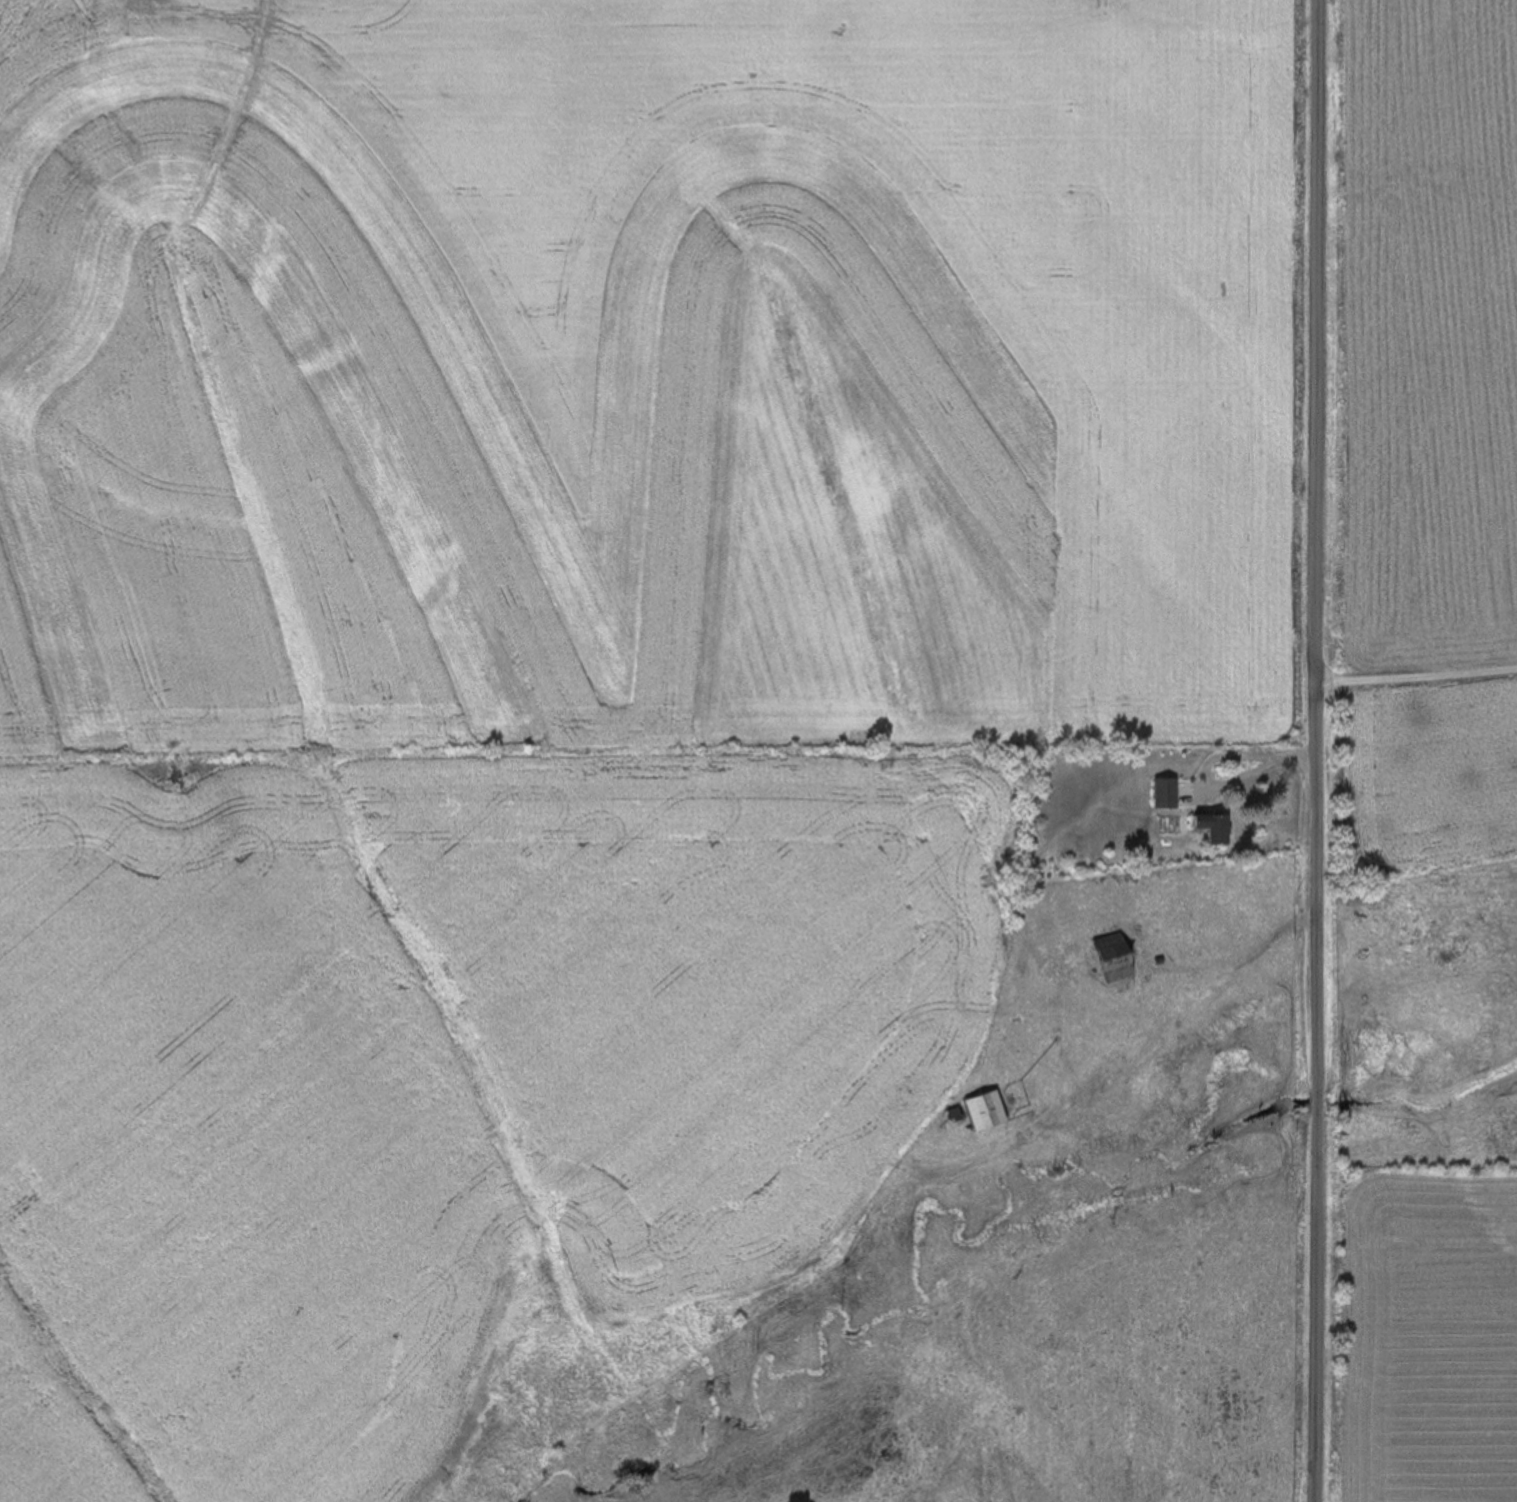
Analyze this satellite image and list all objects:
road: (1416, 674)
road: (1314, 750)
building: (1188, 794)
building: (1216, 828)
building: (1119, 958)
building: (990, 1112)

